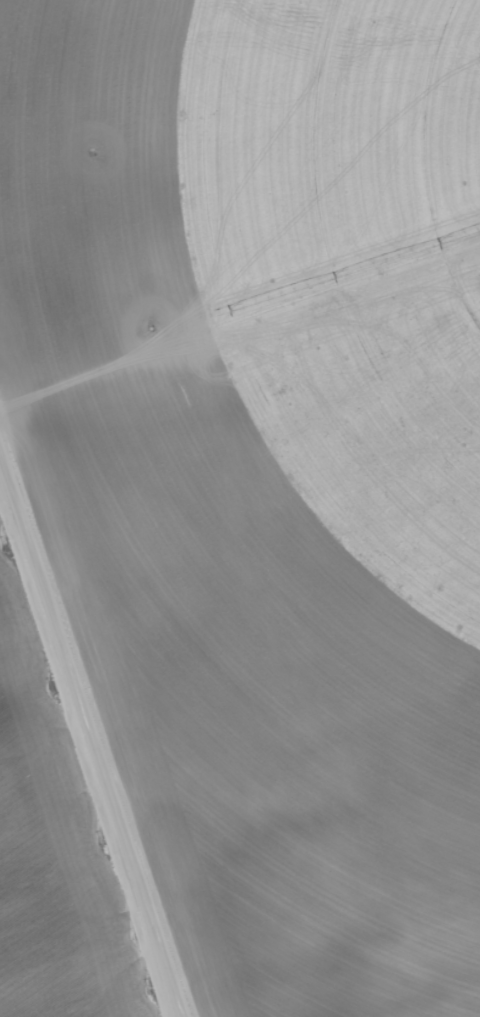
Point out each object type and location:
road: (92, 732)

